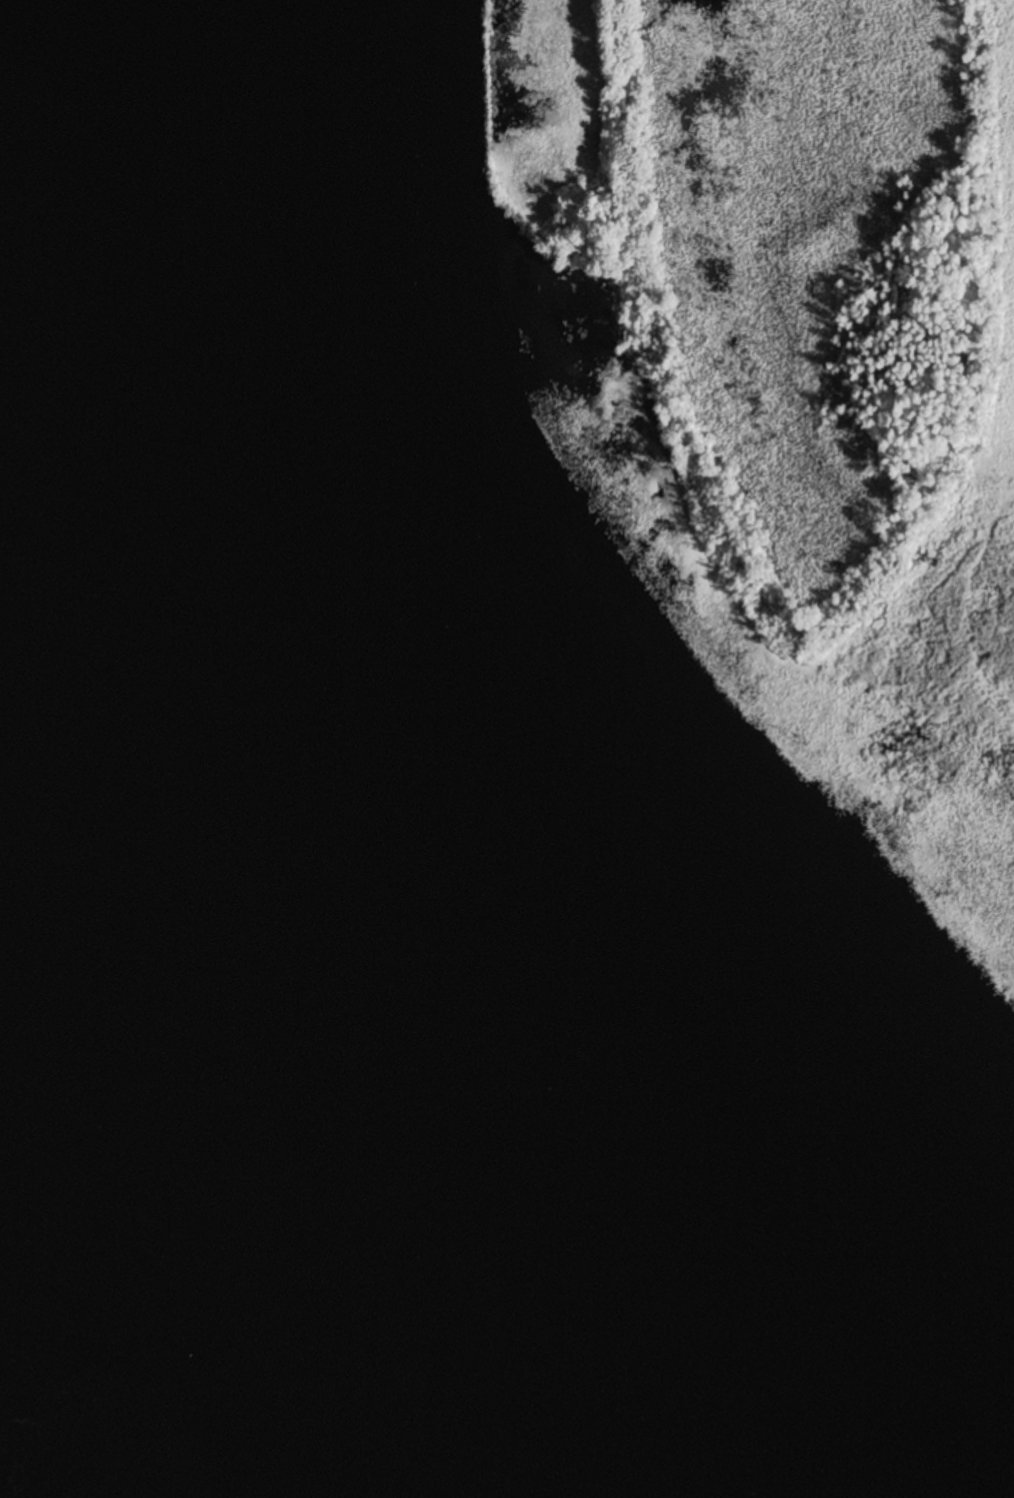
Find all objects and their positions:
river: (3, 1485)

